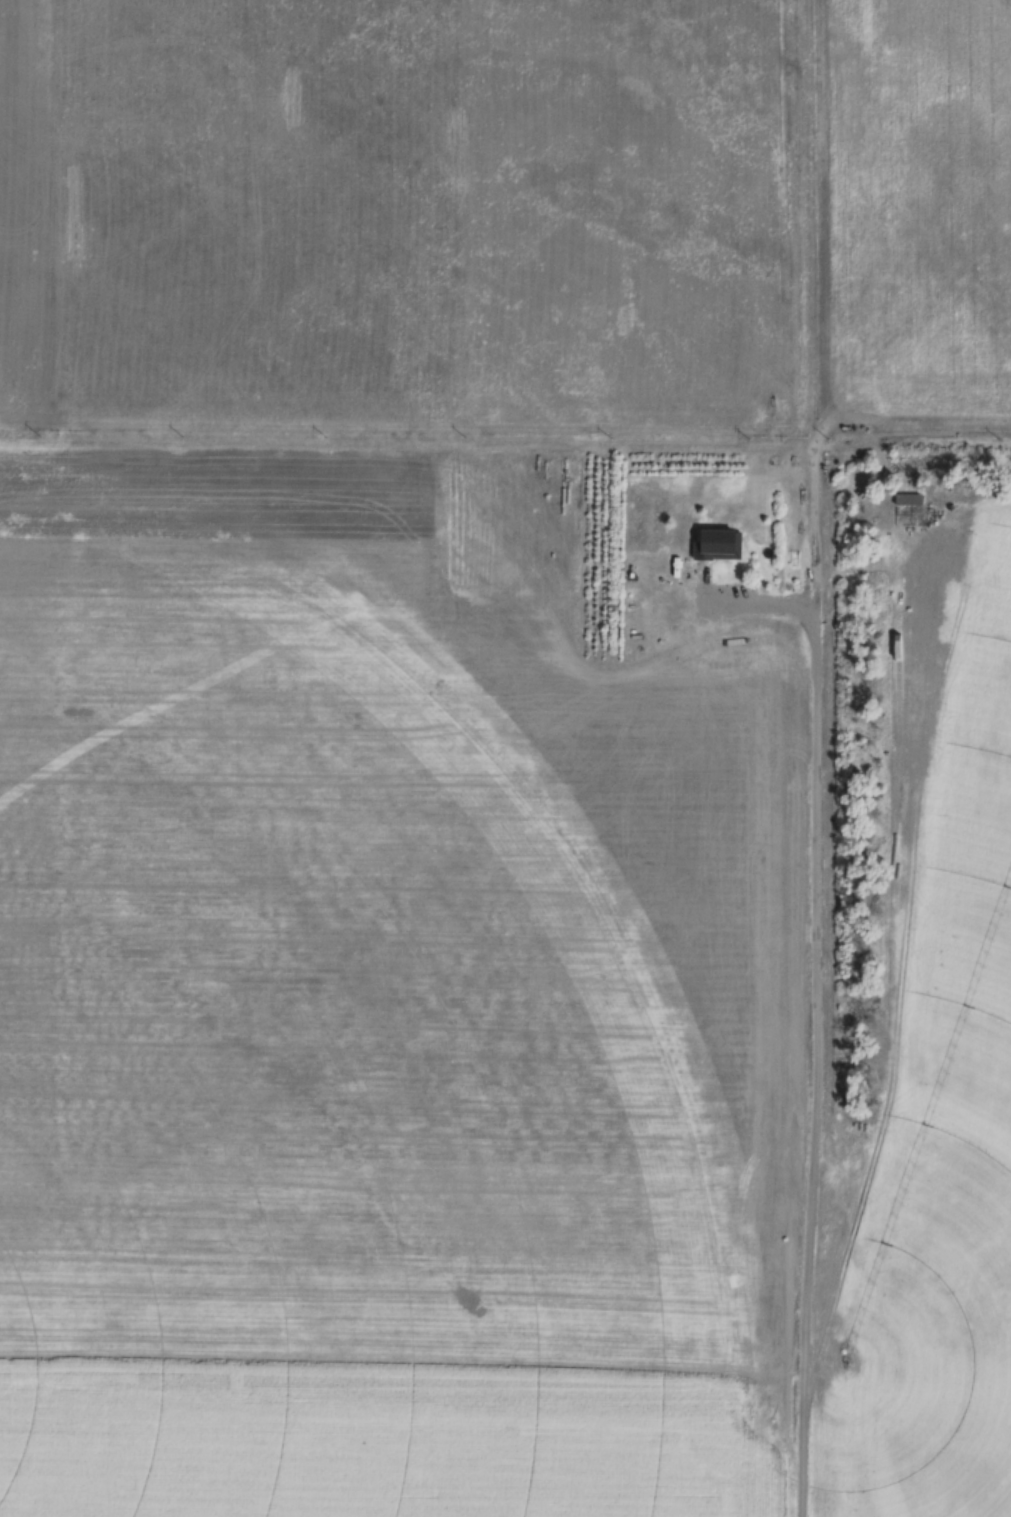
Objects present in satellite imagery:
building: (715, 545)
road: (798, 758)

